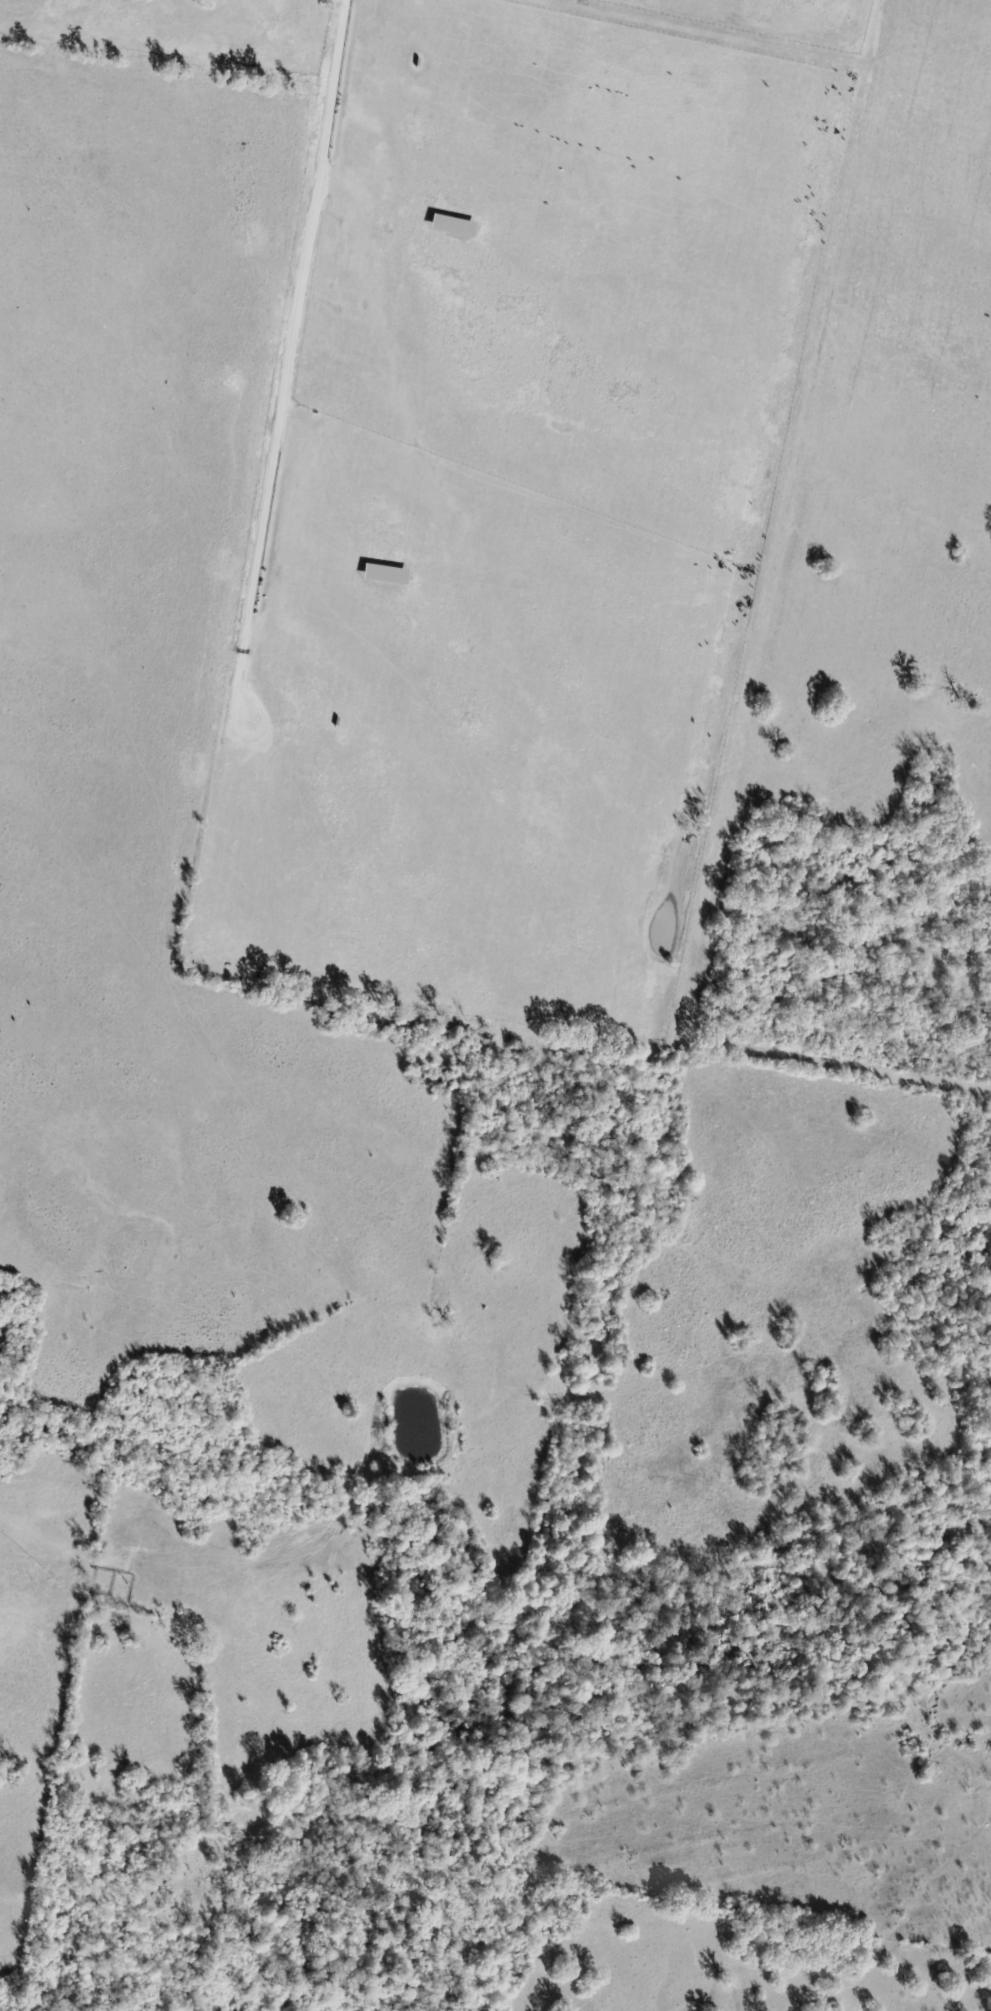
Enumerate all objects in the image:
railway: (666, 1005)

